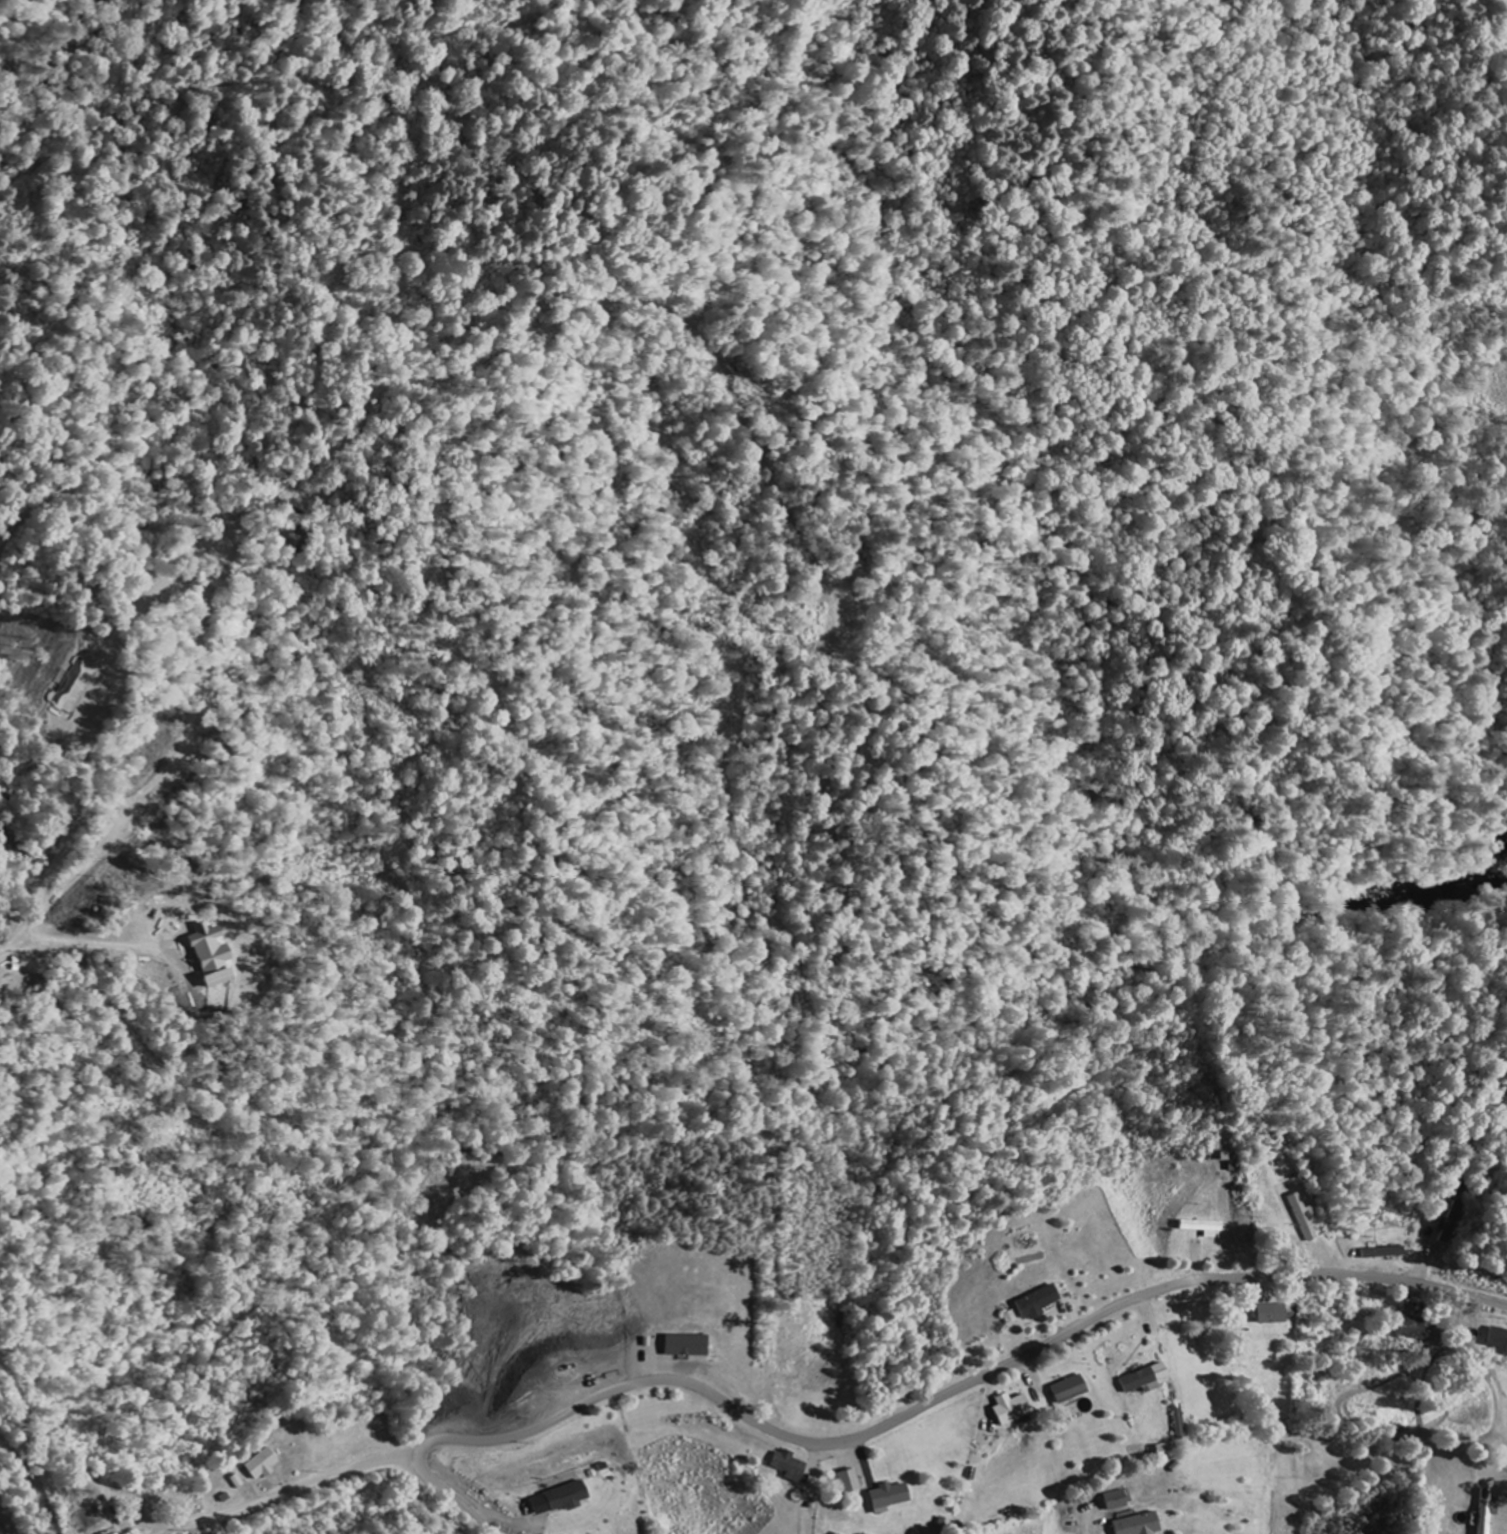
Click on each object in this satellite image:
building: (1304, 1219)
building: (1208, 1229)
building: (1385, 1253)
building: (1040, 1303)
building: (1272, 1315)
building: (1011, 1319)
building: (1414, 1329)
building: (1498, 1341)
building: (688, 1346)
building: (1144, 1381)
road: (959, 1387)
building: (1070, 1390)
building: (1012, 1410)
building: (262, 1465)
building: (788, 1466)
building: (849, 1482)
road: (294, 1491)
road: (445, 1492)
building: (888, 1498)
building: (560, 1501)
building: (1117, 1501)
building: (1487, 1511)
building: (1140, 1525)

